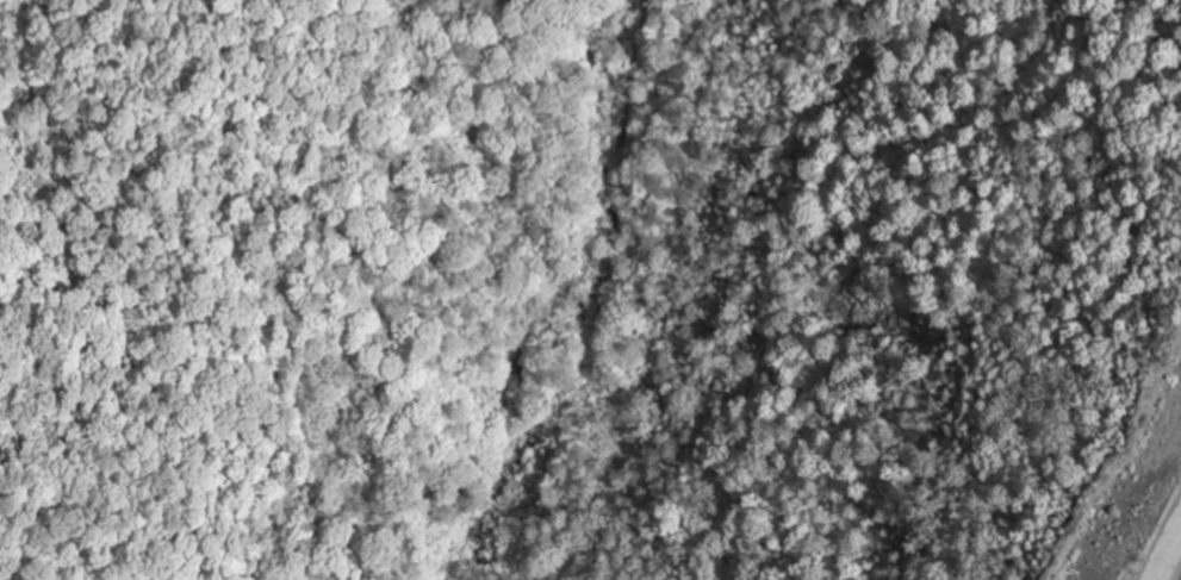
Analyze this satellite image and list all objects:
road: (1164, 553)

